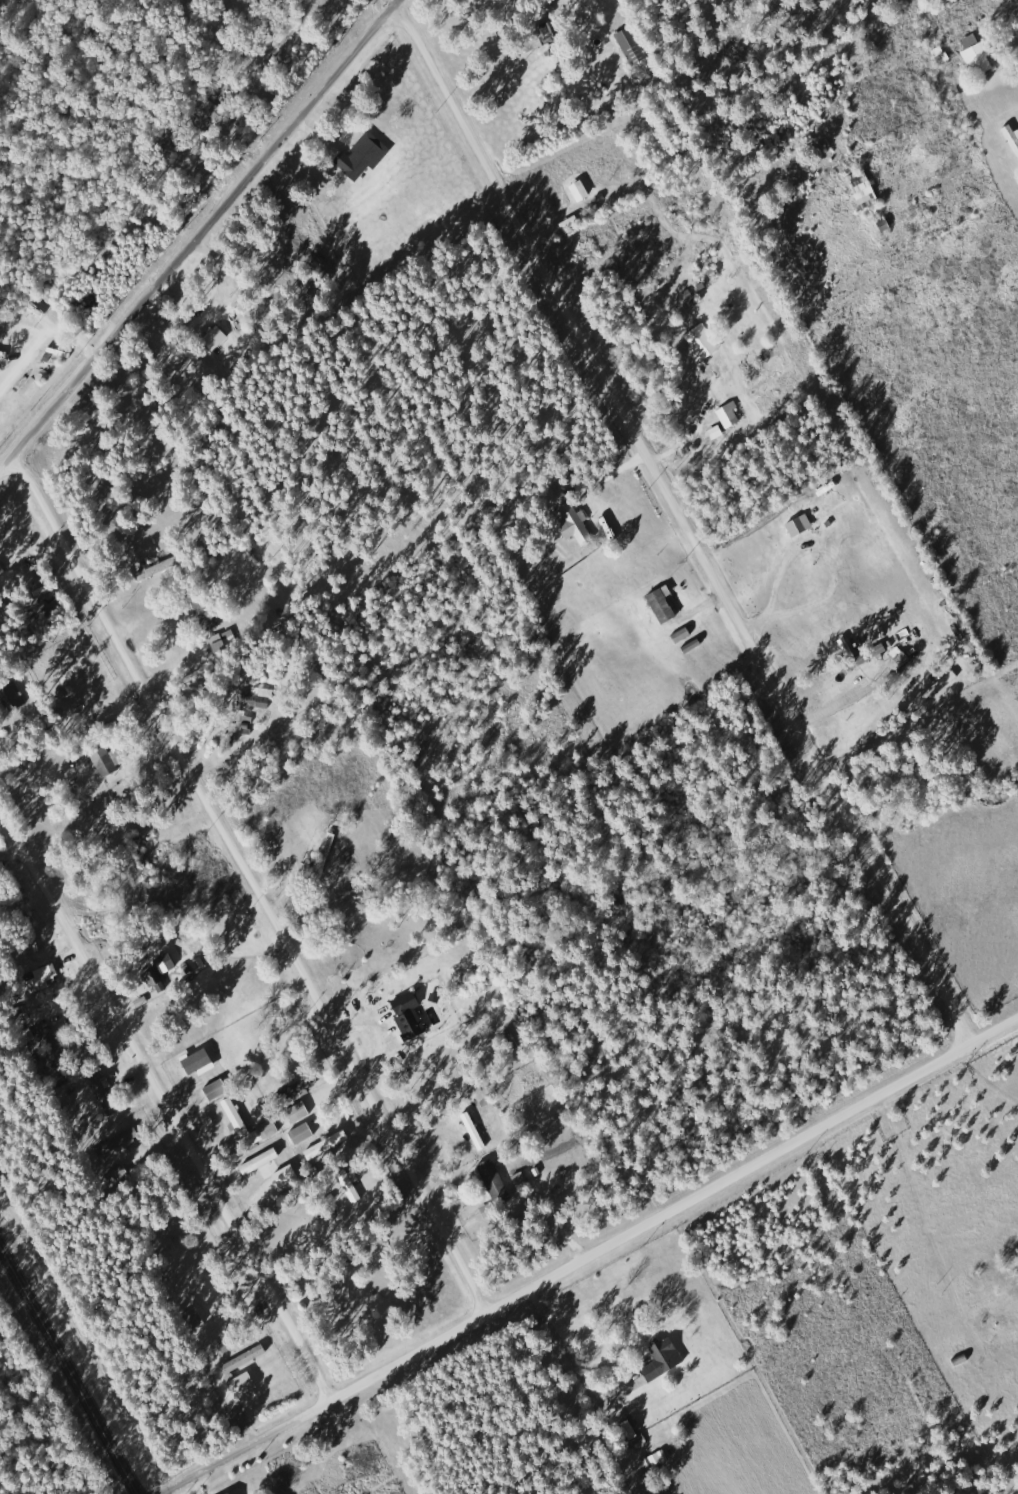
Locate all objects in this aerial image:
road: (391, 1)
building: (547, 34)
building: (633, 45)
building: (978, 55)
park: (79, 111)
building: (1012, 136)
building: (364, 156)
building: (865, 188)
road: (197, 236)
building: (216, 337)
building: (703, 343)
building: (730, 415)
building: (717, 432)
building: (574, 523)
road: (678, 523)
building: (663, 606)
building: (10, 699)
building: (256, 699)
building: (105, 761)
road: (249, 887)
building: (41, 979)
building: (154, 980)
building: (410, 1016)
building: (59, 1050)
building: (199, 1061)
building: (217, 1089)
road: (164, 1106)
building: (299, 1112)
building: (270, 1125)
building: (303, 1133)
building: (119, 1142)
building: (328, 1145)
building: (263, 1164)
building: (287, 1176)
building: (495, 1185)
building: (352, 1186)
road: (674, 1208)
building: (245, 1358)
building: (665, 1358)
road: (70, 1368)
building: (244, 1384)
park: (40, 1423)
building: (634, 1432)
building: (233, 1493)

